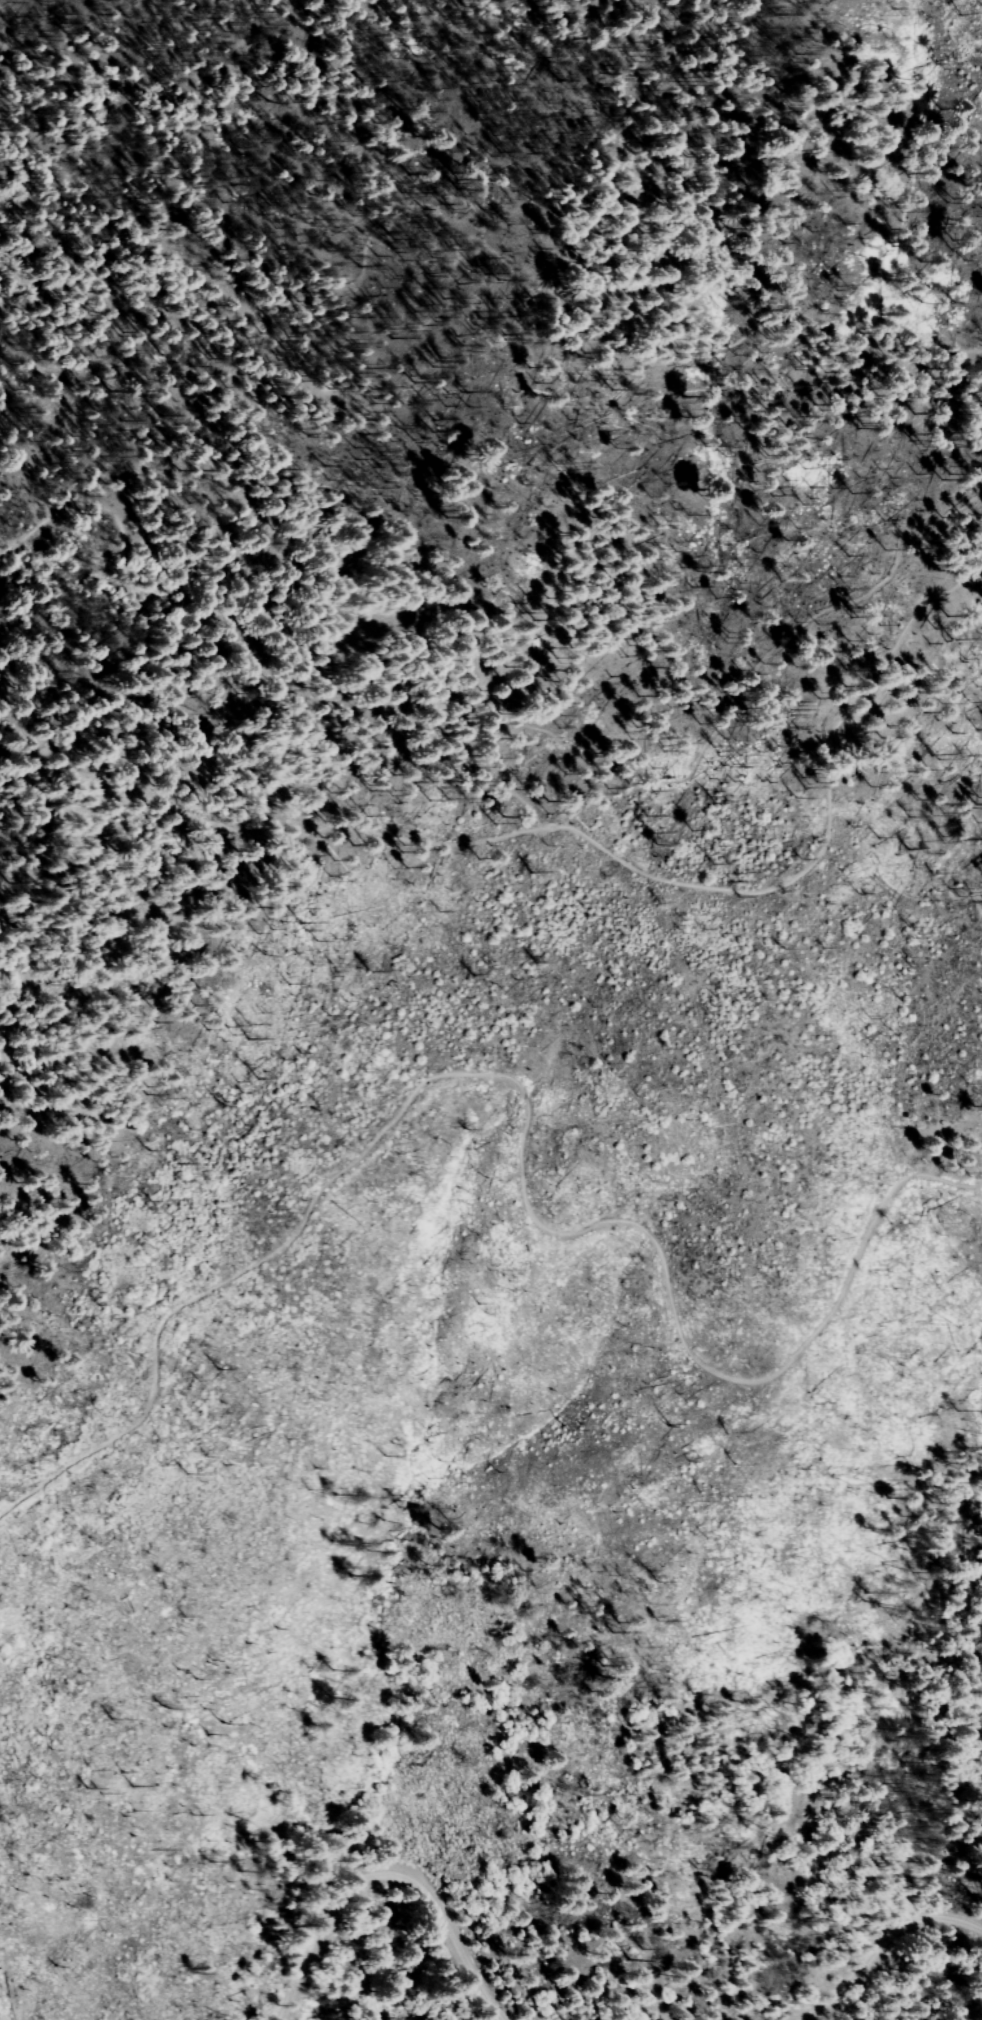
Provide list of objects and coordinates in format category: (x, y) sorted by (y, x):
road: (394, 1870)
road: (880, 1945)

